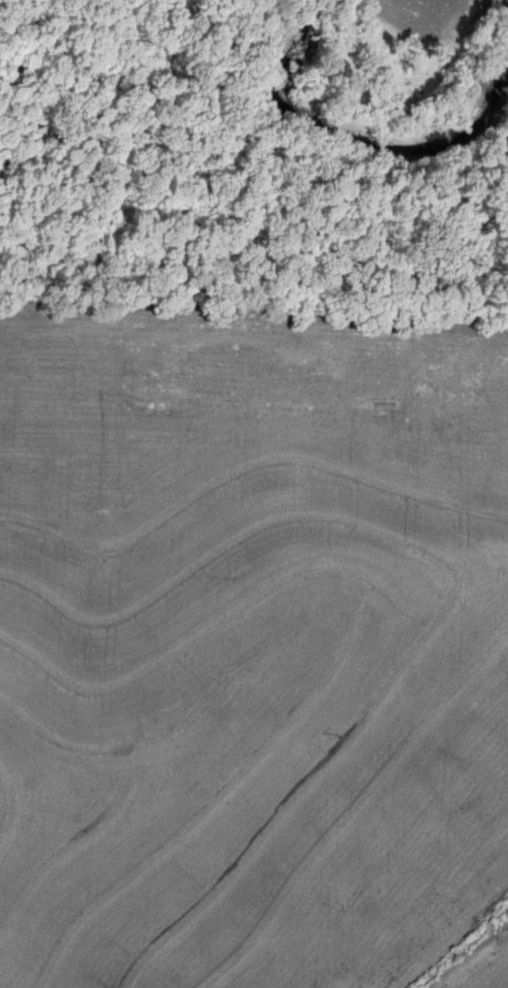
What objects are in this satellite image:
river: (358, 132)

